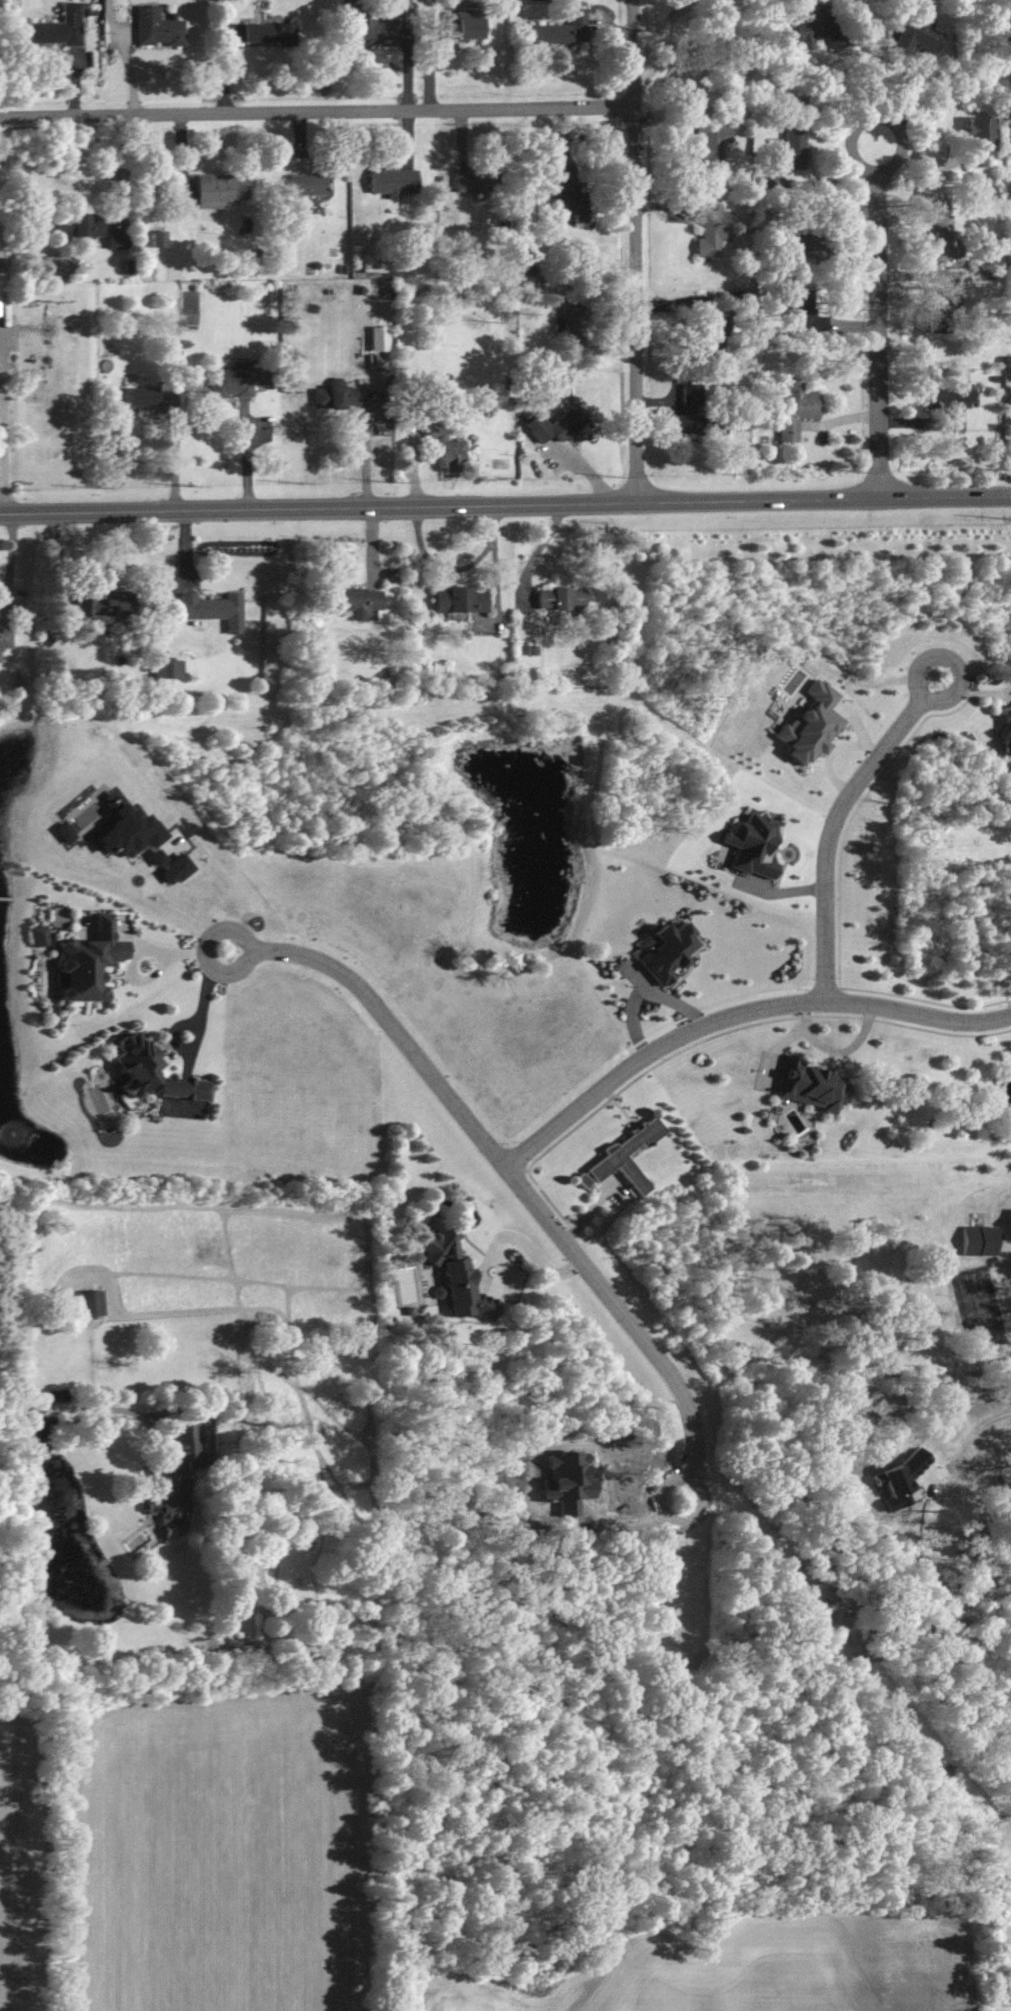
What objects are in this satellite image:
road: (224, 18)
road: (114, 19)
building: (373, 26)
building: (61, 28)
building: (159, 29)
building: (458, 30)
road: (612, 30)
building: (564, 31)
building: (817, 31)
building: (918, 33)
building: (272, 34)
road: (669, 46)
road: (636, 55)
road: (229, 67)
road: (412, 68)
road: (131, 69)
road: (434, 74)
road: (869, 80)
road: (77, 82)
road: (319, 114)
road: (668, 121)
road: (567, 138)
building: (979, 140)
road: (411, 141)
road: (466, 142)
building: (714, 143)
road: (306, 146)
building: (791, 148)
road: (185, 160)
road: (122, 174)
building: (394, 182)
building: (479, 182)
building: (310, 184)
building: (221, 191)
building: (568, 194)
road: (674, 208)
building: (80, 229)
building: (714, 233)
building: (940, 237)
building: (121, 240)
building: (162, 241)
building: (805, 244)
building: (948, 295)
building: (264, 296)
road: (679, 305)
road: (639, 306)
road: (615, 311)
building: (804, 312)
building: (937, 313)
road: (880, 315)
building: (577, 324)
building: (718, 339)
building: (1007, 362)
building: (234, 379)
building: (337, 395)
building: (135, 397)
road: (661, 401)
building: (951, 403)
building: (796, 410)
building: (700, 417)
building: (559, 425)
building: (445, 446)
road: (369, 451)
road: (179, 455)
road: (247, 459)
road: (0, 491)
road: (982, 494)
road: (982, 496)
road: (476, 504)
road: (540, 552)
road: (497, 560)
road: (12, 571)
building: (561, 598)
building: (460, 600)
building: (354, 601)
building: (104, 603)
building: (214, 609)
building: (7, 640)
building: (173, 668)
building: (19, 680)
building: (811, 724)
building: (1008, 739)
road: (835, 825)
building: (129, 830)
building: (64, 832)
building: (752, 845)
building: (176, 869)
road: (193, 907)
building: (39, 935)
building: (666, 950)
building: (90, 962)
road: (199, 1006)
road: (736, 1016)
building: (152, 1074)
building: (810, 1085)
building: (624, 1157)
road: (513, 1179)
building: (1010, 1225)
building: (979, 1240)
road: (529, 1246)
building: (456, 1277)
building: (91, 1303)
road: (71, 1408)
road: (970, 1445)
building: (177, 1481)

